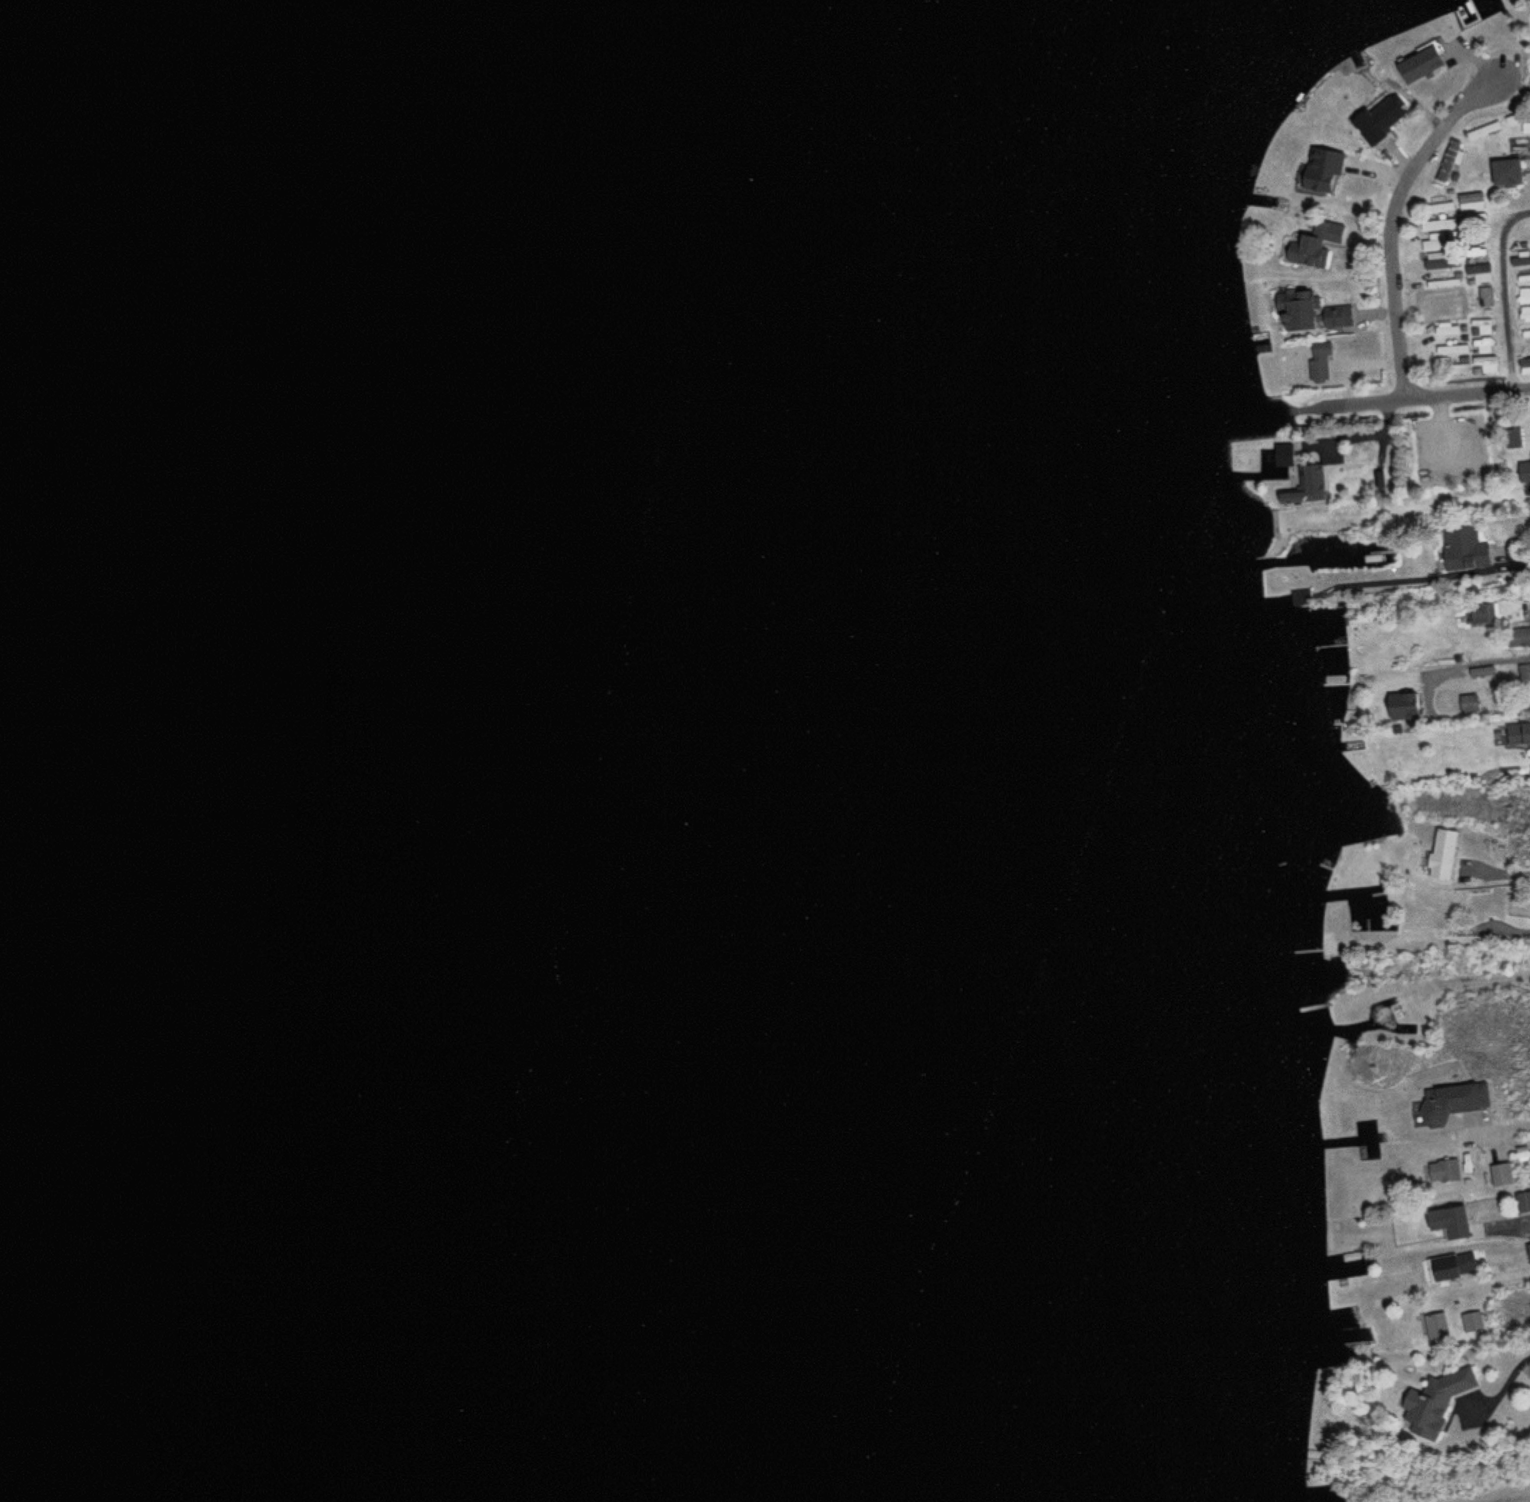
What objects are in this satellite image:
building: (1419, 62)
building: (1377, 118)
building: (1320, 170)
building: (1504, 172)
building: (1471, 201)
road: (1396, 216)
building: (1439, 256)
road: (1507, 294)
building: (1486, 296)
building: (1297, 311)
building: (1483, 326)
building: (1452, 349)
road: (1415, 396)
road: (1374, 439)
building: (1282, 454)
building: (1524, 472)
building: (1311, 483)
building: (1464, 549)
building: (1482, 672)
building: (1524, 672)
building: (1469, 703)
building: (1406, 708)
road: (1496, 719)
building: (1480, 897)
road: (1481, 987)
building: (1478, 1096)
building: (1440, 1108)
road: (1524, 1118)
building: (1444, 1171)
building: (1501, 1174)
building: (1522, 1202)
building: (1454, 1222)
road: (1523, 1223)
building: (1457, 1265)
road: (1523, 1280)
building: (1437, 1327)
building: (1472, 1327)
building: (1433, 1401)

